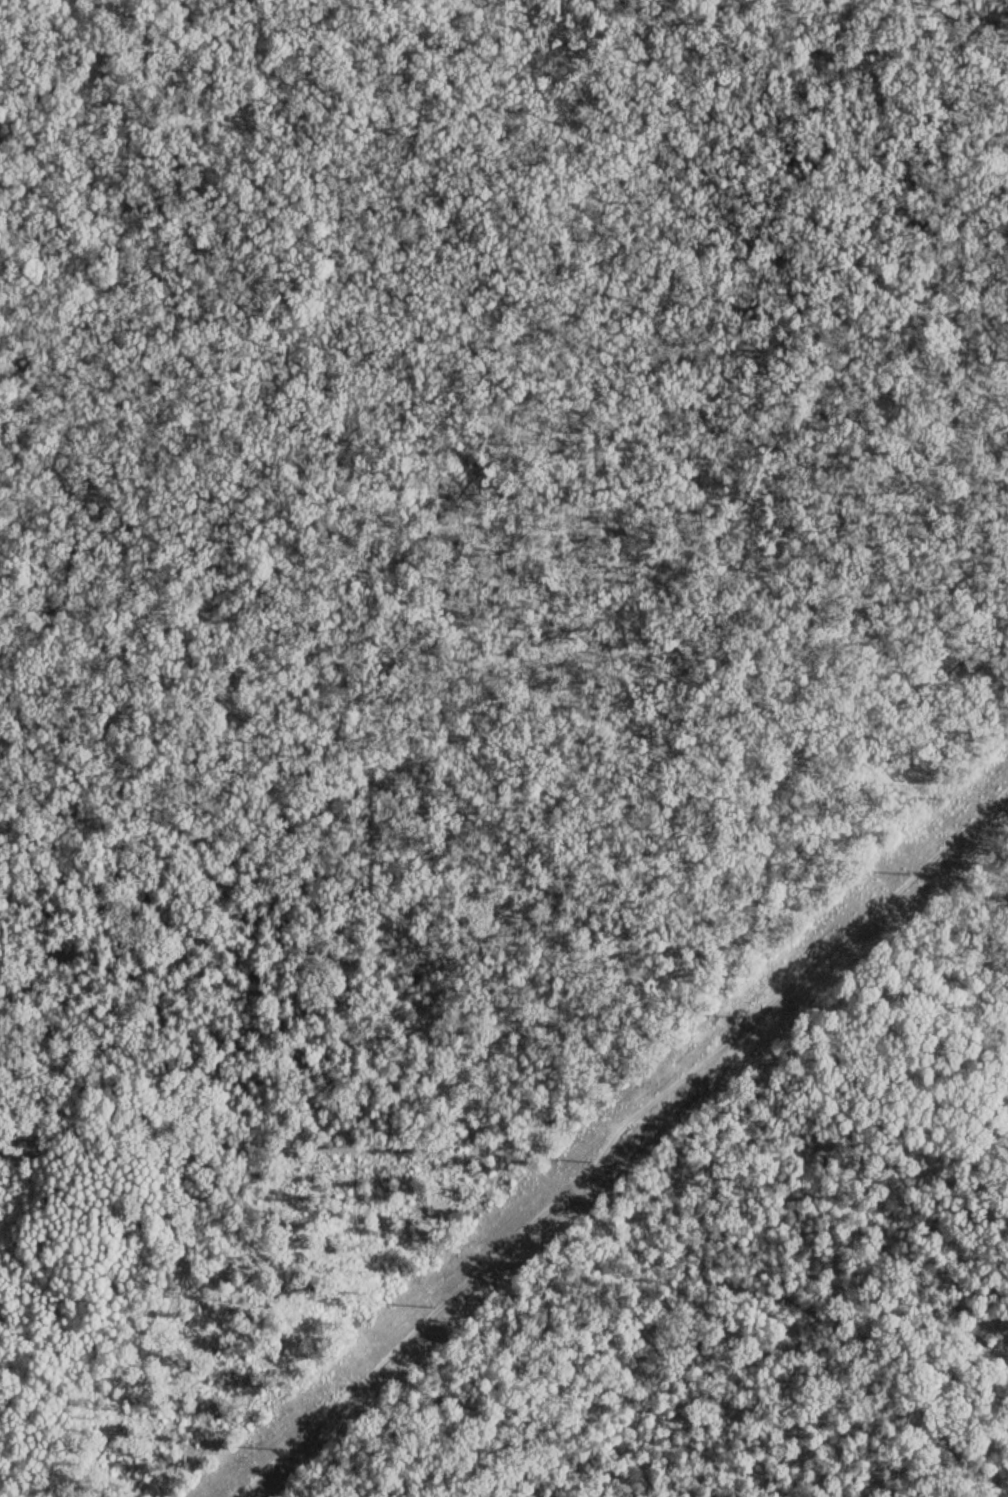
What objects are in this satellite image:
road: (549, 1179)

